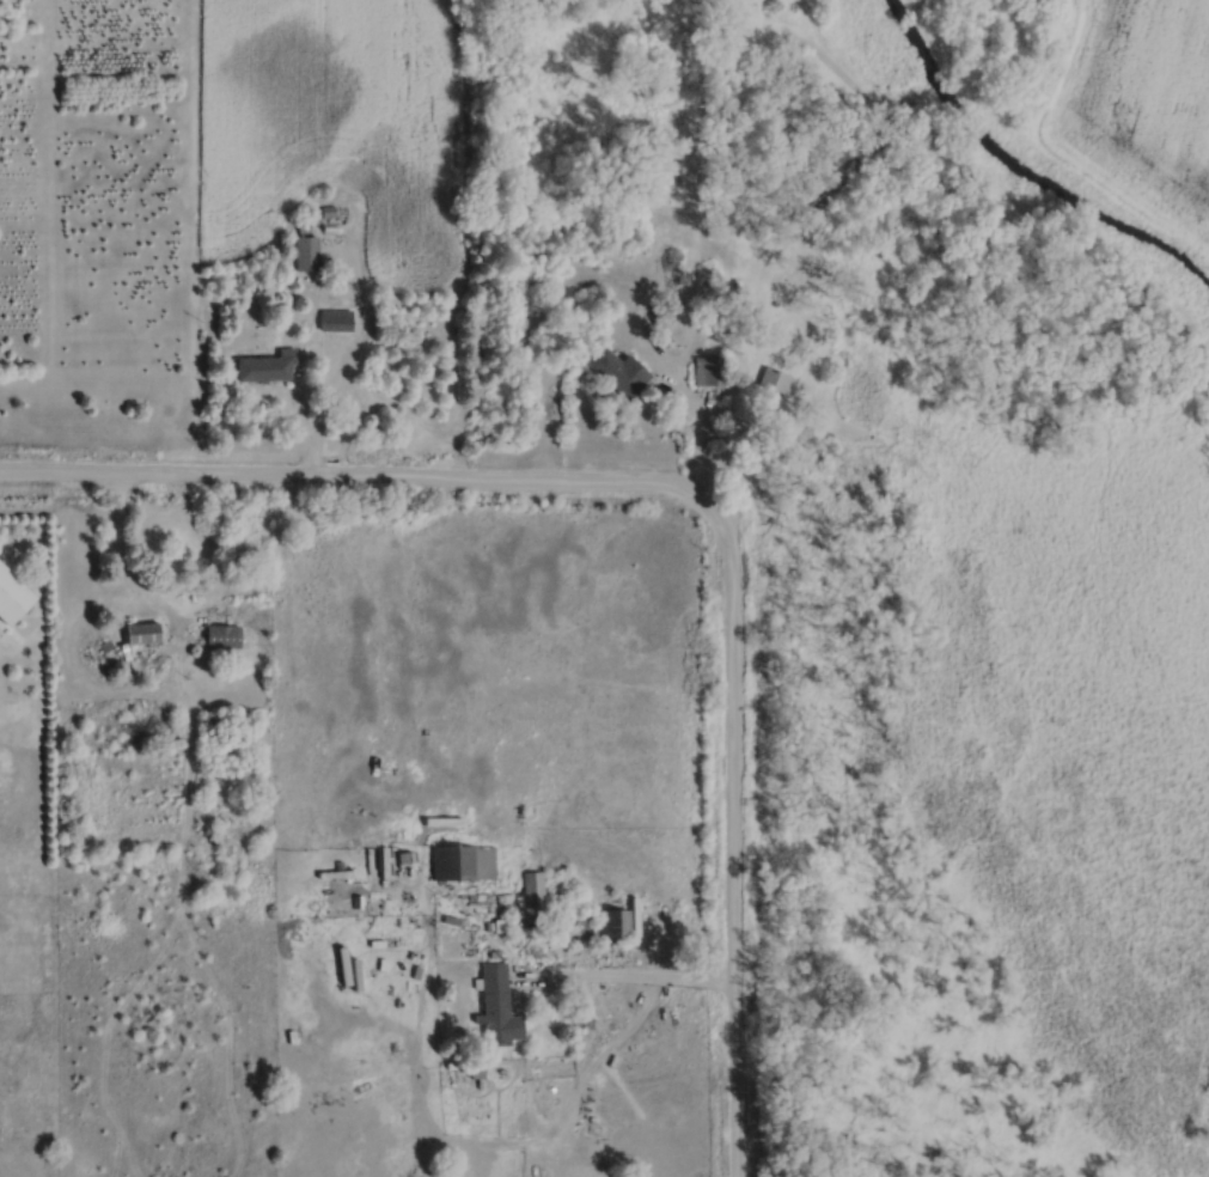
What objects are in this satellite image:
building: (305, 255)
building: (334, 322)
building: (267, 367)
building: (707, 372)
building: (616, 373)
building: (774, 382)
road: (329, 400)
road: (695, 453)
road: (689, 498)
road: (123, 568)
building: (17, 594)
building: (138, 635)
building: (221, 638)
building: (466, 864)
building: (531, 889)
building: (619, 922)
road: (621, 980)
building: (495, 1007)

